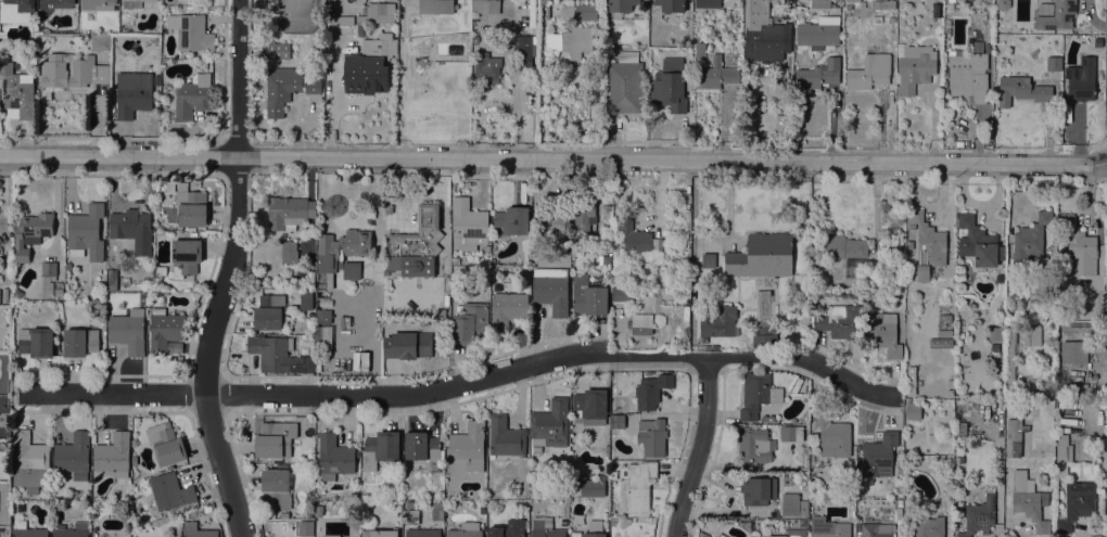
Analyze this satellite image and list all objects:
building: (275, 0)
building: (390, 0)
building: (853, 1)
building: (60, 2)
building: (135, 2)
building: (98, 4)
building: (708, 4)
building: (820, 4)
building: (858, 4)
building: (671, 5)
building: (883, 5)
building: (436, 7)
building: (484, 7)
building: (621, 8)
building: (849, 8)
building: (15, 11)
building: (365, 11)
building: (934, 11)
building: (378, 13)
building: (586, 13)
building: (1057, 16)
building: (344, 21)
building: (947, 27)
building: (764, 33)
building: (818, 33)
building: (193, 34)
building: (156, 40)
building: (571, 41)
building: (100, 42)
building: (279, 51)
building: (523, 52)
building: (1054, 64)
building: (370, 66)
building: (486, 67)
building: (914, 67)
building: (72, 72)
building: (869, 73)
building: (715, 75)
building: (818, 75)
building: (969, 75)
building: (945, 79)
building: (1082, 80)
road: (1105, 82)
building: (625, 84)
building: (689, 85)
building: (670, 86)
building: (287, 88)
building: (1021, 90)
building: (16, 92)
building: (132, 93)
building: (193, 97)
building: (958, 143)
road: (553, 161)
building: (191, 208)
building: (389, 208)
building: (289, 213)
building: (584, 215)
building: (560, 217)
building: (512, 220)
building: (468, 222)
building: (132, 229)
building: (30, 233)
building: (86, 233)
building: (639, 242)
building: (980, 243)
building: (416, 245)
building: (908, 245)
building: (927, 245)
building: (1031, 245)
building: (486, 247)
building: (840, 247)
building: (1080, 247)
building: (341, 248)
building: (893, 248)
building: (289, 253)
building: (762, 256)
building: (186, 257)
building: (709, 260)
building: (455, 261)
building: (67, 267)
building: (161, 271)
road: (227, 271)
building: (352, 271)
building: (48, 278)
building: (111, 279)
building: (320, 285)
building: (58, 289)
building: (16, 294)
building: (551, 294)
building: (620, 294)
building: (4, 295)
building: (588, 296)
building: (306, 303)
building: (507, 310)
building: (270, 311)
building: (441, 316)
building: (323, 317)
building: (944, 317)
building: (345, 321)
building: (839, 321)
building: (718, 322)
building: (470, 323)
building: (1074, 323)
building: (641, 324)
building: (165, 330)
building: (128, 331)
building: (882, 333)
building: (944, 334)
building: (995, 334)
building: (764, 335)
building: (1034, 335)
building: (323, 336)
building: (36, 342)
building: (80, 342)
building: (102, 343)
building: (940, 343)
building: (408, 345)
building: (174, 346)
building: (703, 347)
building: (715, 347)
building: (1074, 353)
building: (278, 355)
road: (804, 359)
building: (1010, 361)
building: (996, 362)
building: (911, 380)
building: (951, 383)
building: (651, 391)
building: (1046, 391)
building: (949, 392)
road: (367, 394)
building: (758, 394)
building: (1007, 396)
building: (590, 407)
building: (913, 411)
building: (767, 419)
building: (618, 422)
building: (551, 423)
building: (960, 429)
building: (791, 434)
building: (652, 436)
building: (832, 436)
building: (506, 437)
building: (1013, 438)
building: (275, 439)
building: (166, 444)
building: (753, 445)
building: (422, 447)
building: (467, 448)
road: (699, 448)
building: (380, 449)
building: (536, 449)
building: (950, 451)
building: (113, 453)
building: (1063, 455)
building: (74, 456)
building: (879, 456)
building: (333, 457)
building: (29, 462)
building: (900, 487)
building: (276, 488)
building: (593, 488)
building: (637, 488)
building: (758, 490)
building: (170, 491)
building: (1029, 500)
building: (899, 502)
building: (411, 504)
building: (437, 504)
building: (793, 504)
building: (1076, 504)
building: (899, 511)
building: (284, 515)
building: (979, 516)
building: (803, 523)
building: (898, 523)
building: (828, 527)
building: (929, 527)
building: (305, 528)
building: (545, 528)
building: (508, 529)
building: (876, 529)
building: (73, 530)
building: (195, 530)
building: (29, 533)
building: (380, 533)
building: (423, 533)
building: (463, 533)
building: (587, 534)
building: (791, 534)
building: (328, 535)
building: (704, 536)
building: (722, 536)
building: (899, 536)

